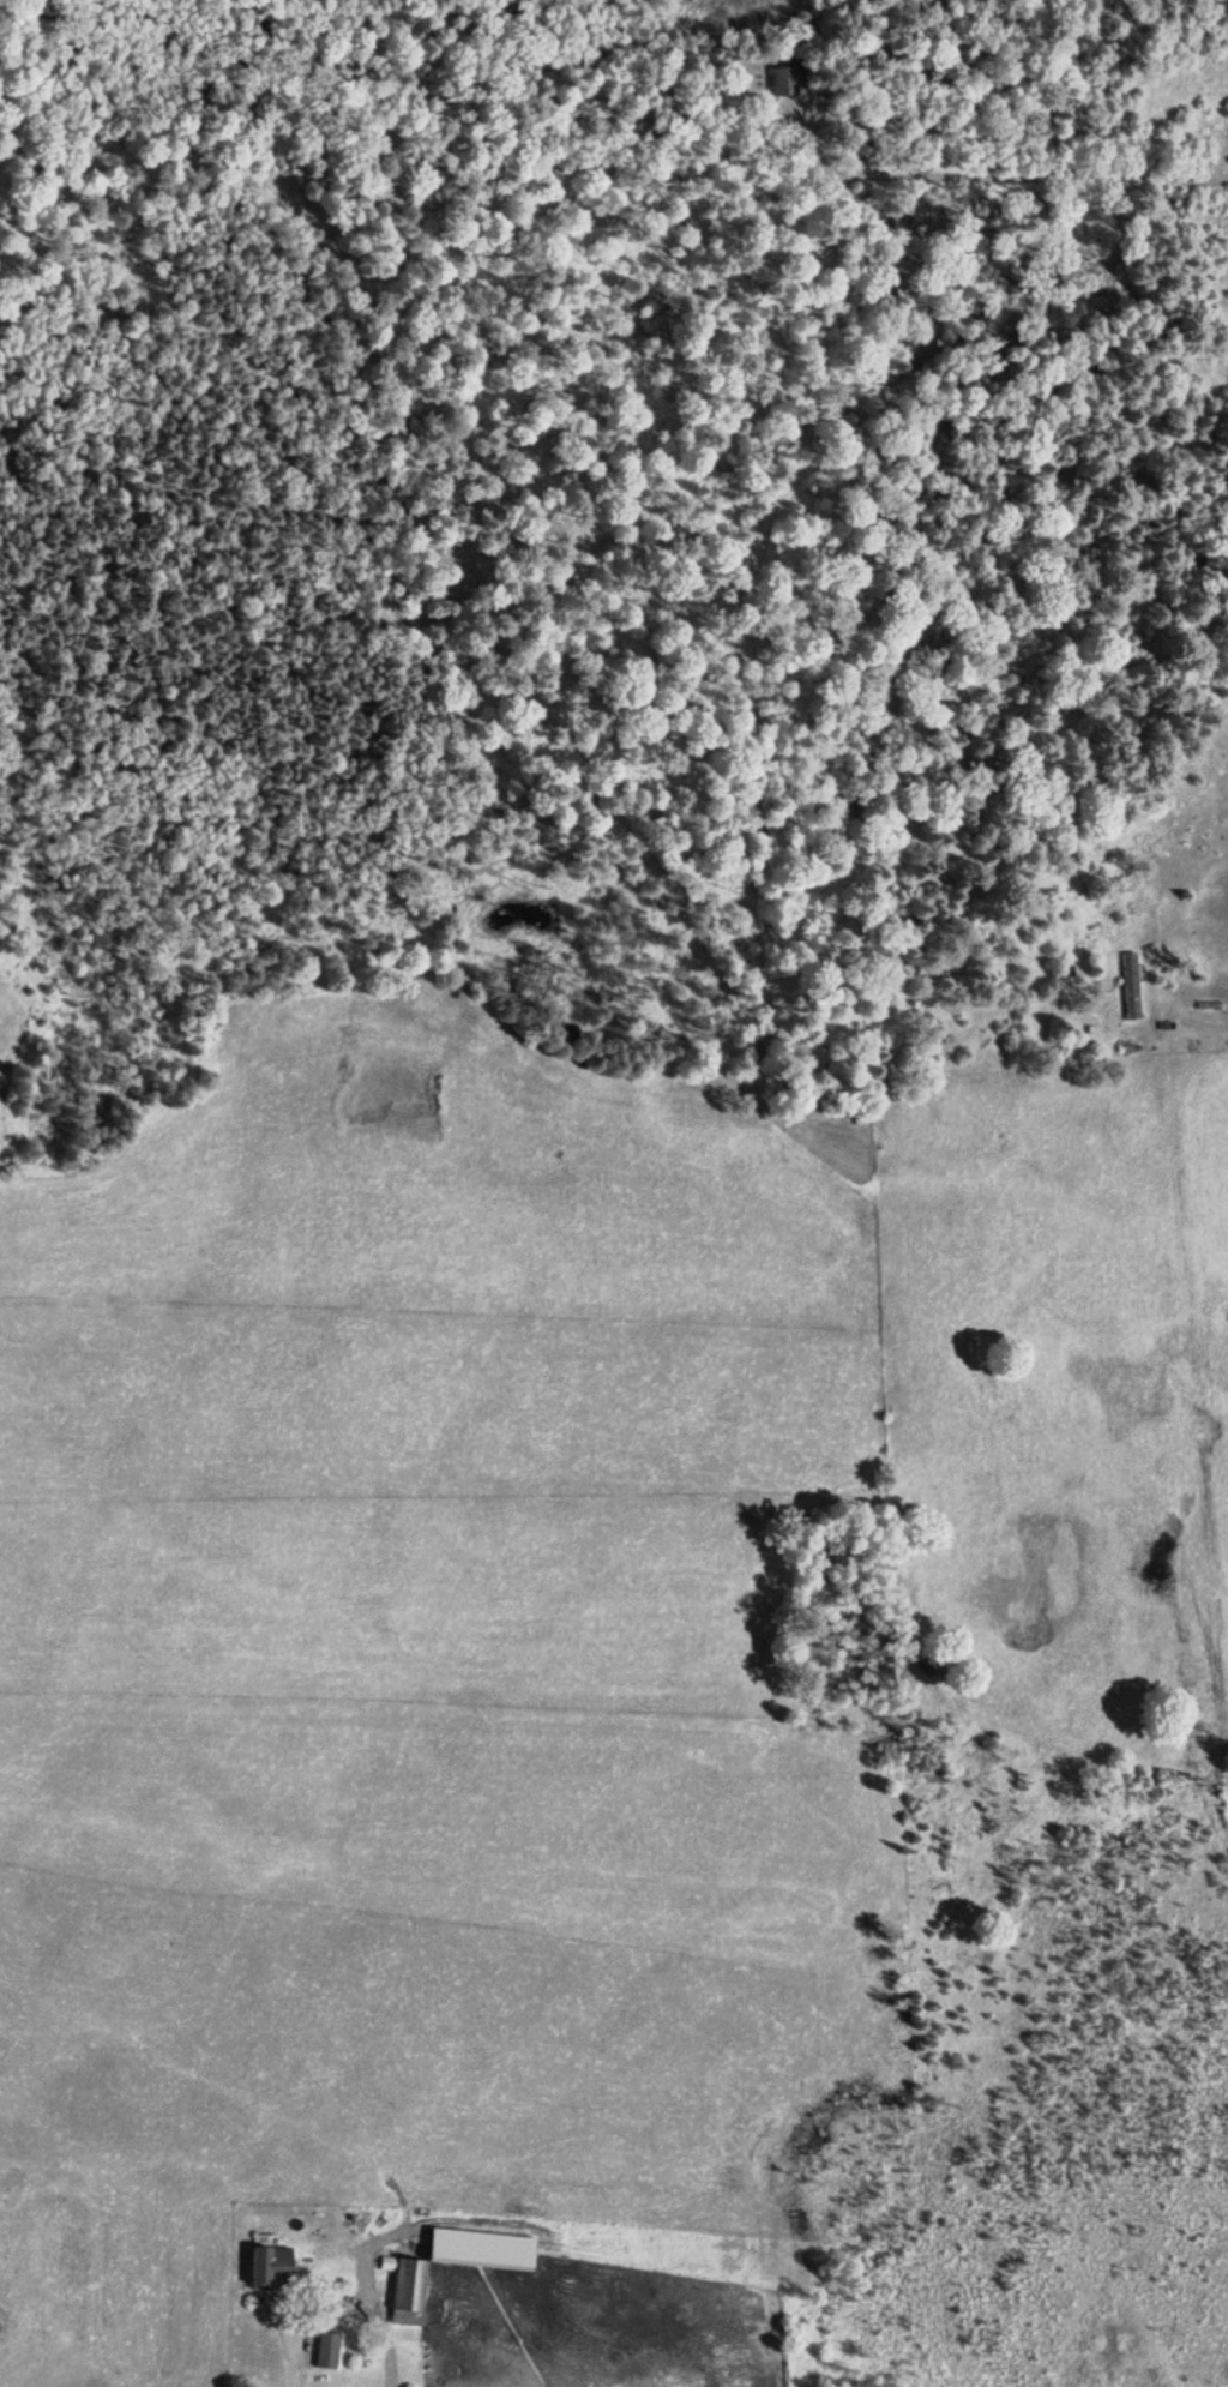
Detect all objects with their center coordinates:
building: (785, 82)
road: (993, 176)
building: (1132, 986)
building: (456, 2265)
building: (272, 2266)
building: (327, 2350)

